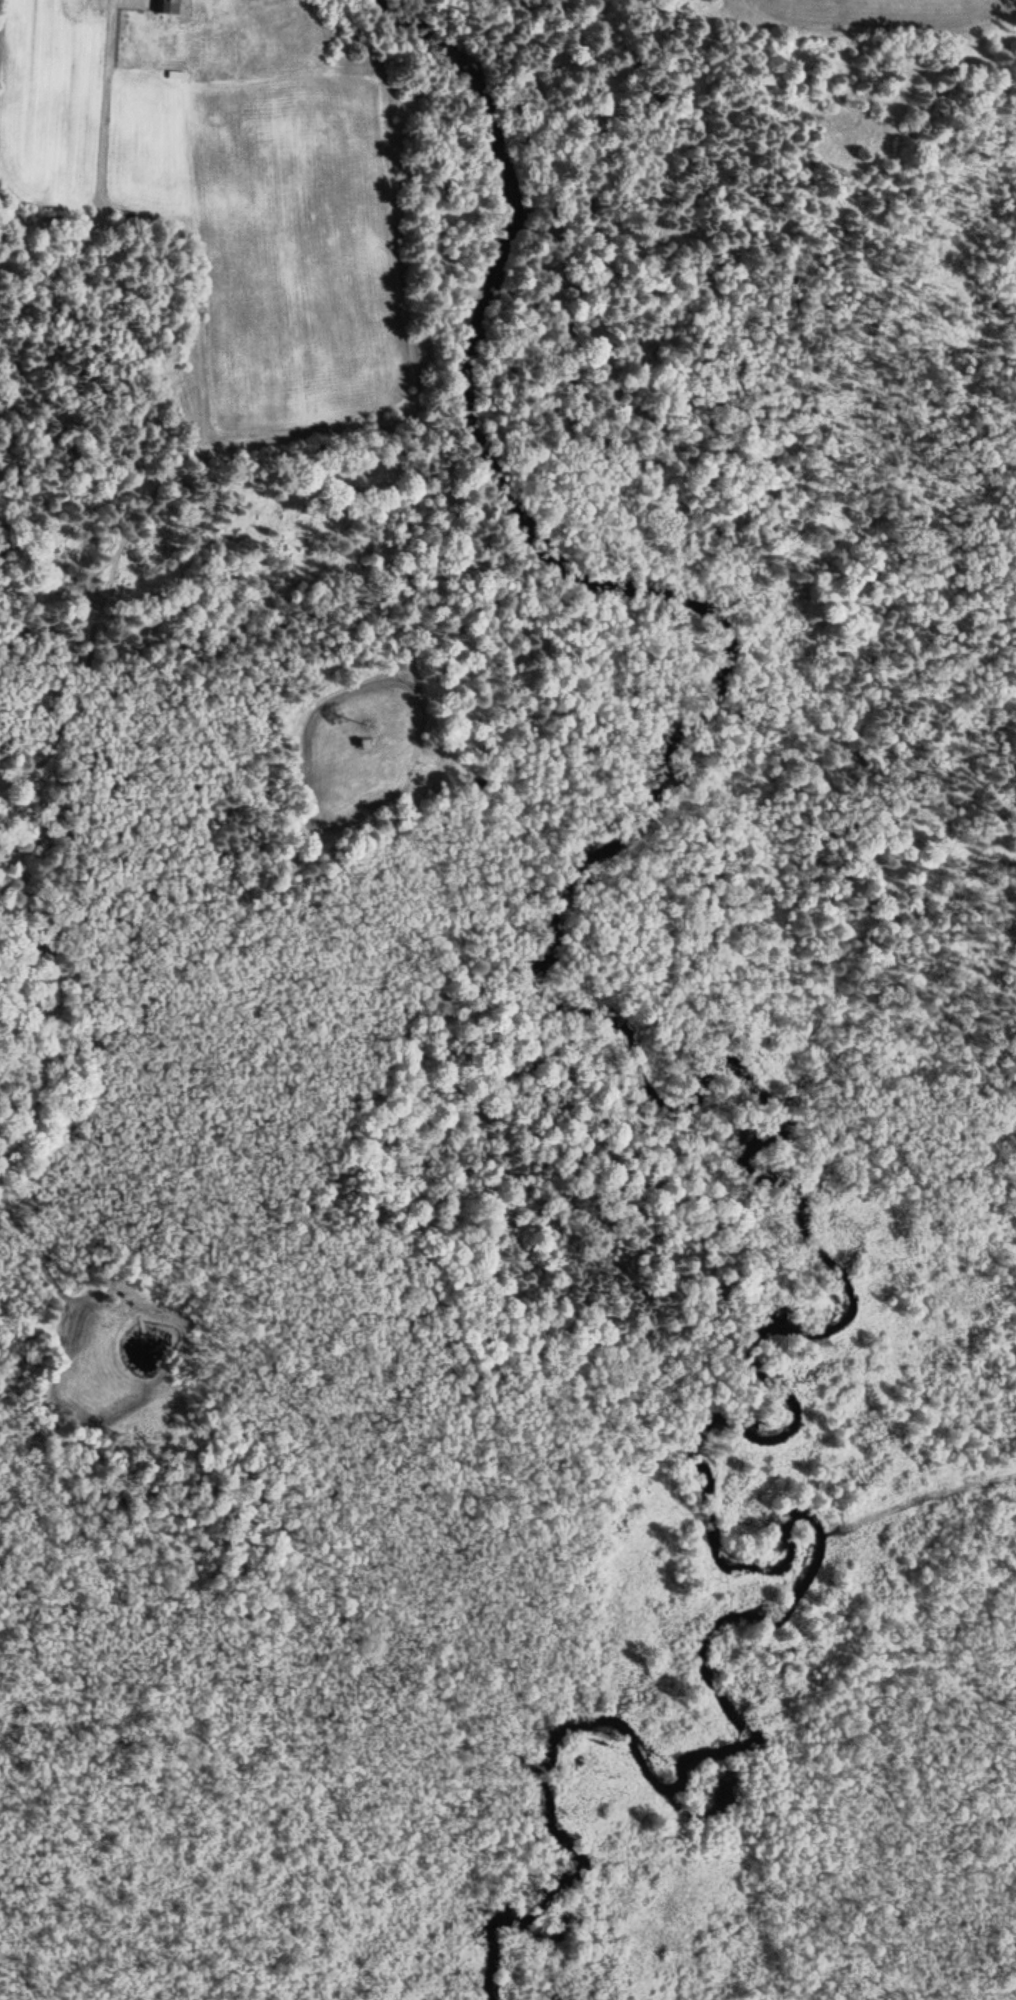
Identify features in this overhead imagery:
building: (165, 4)
river: (781, 1130)

